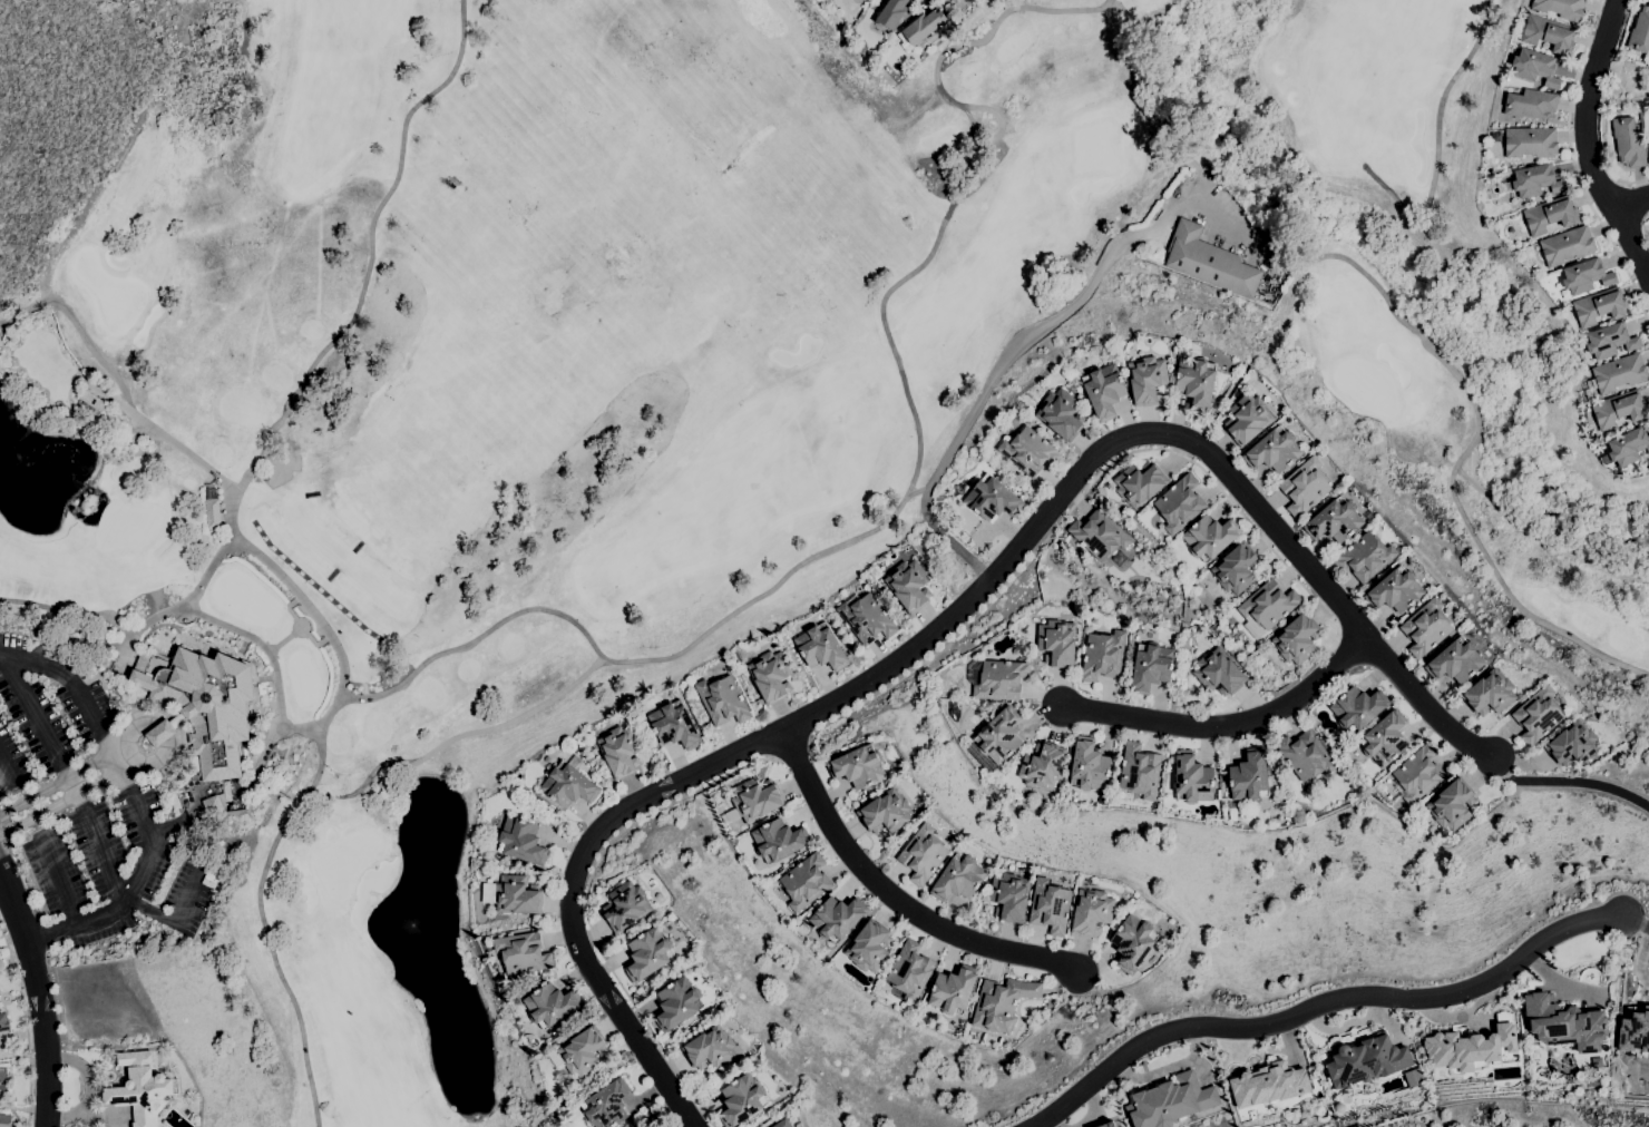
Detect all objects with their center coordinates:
building: (867, 0)
building: (952, 0)
building: (954, 0)
building: (1561, 8)
building: (891, 12)
building: (920, 28)
building: (1640, 31)
building: (1549, 35)
building: (1535, 67)
building: (1530, 104)
road: (1145, 111)
building: (1494, 136)
building: (1530, 143)
road: (1585, 143)
building: (1629, 143)
park: (1095, 147)
building: (1648, 150)
road: (966, 161)
road: (1435, 165)
road: (1574, 168)
building: (1536, 180)
road: (1631, 183)
road: (1623, 195)
road: (1635, 204)
building: (1551, 215)
parking lot: (1228, 216)
road: (1226, 220)
building: (1567, 245)
road: (371, 252)
building: (1209, 262)
building: (1587, 276)
building: (1600, 306)
building: (1610, 341)
road: (998, 369)
building: (1617, 375)
building: (1147, 380)
park: (706, 382)
building: (1196, 382)
building: (1103, 391)
building: (92, 401)
building: (1619, 409)
road: (136, 413)
building: (1061, 414)
building: (1248, 419)
road: (1472, 445)
building: (1628, 447)
building: (1028, 451)
building: (1274, 451)
building: (1139, 483)
building: (1304, 487)
building: (992, 499)
road: (1073, 504)
building: (1179, 504)
building: (212, 510)
building: (1335, 521)
park: (127, 525)
building: (1099, 535)
building: (1209, 537)
building: (1060, 542)
road: (1013, 551)
building: (1365, 557)
building: (1236, 568)
building: (909, 586)
road: (771, 589)
building: (1396, 590)
building: (1268, 604)
road: (87, 609)
road: (1326, 609)
building: (866, 618)
road: (584, 627)
building: (1426, 628)
road: (294, 630)
road: (308, 635)
building: (1297, 638)
road: (263, 641)
building: (1057, 643)
road: (75, 644)
building: (821, 648)
road: (13, 655)
building: (1103, 655)
road: (41, 660)
road: (345, 660)
building: (1455, 660)
building: (1151, 667)
building: (1219, 673)
building: (771, 676)
building: (996, 678)
building: (1490, 693)
building: (722, 700)
building: (204, 703)
road: (91, 704)
building: (1357, 708)
road: (37, 715)
building: (1538, 715)
building: (178, 719)
road: (126, 721)
building: (674, 725)
road: (1227, 725)
building: (160, 733)
building: (999, 736)
building: (1384, 739)
fountain: (147, 743)
road: (792, 743)
building: (1572, 744)
building: (621, 751)
building: (1306, 755)
road: (96, 759)
road: (116, 762)
building: (1089, 765)
building: (1042, 766)
building: (858, 767)
building: (1139, 772)
road: (9, 773)
building: (1418, 774)
building: (1250, 776)
building: (1192, 778)
road: (107, 780)
road: (75, 785)
building: (568, 785)
road: (667, 786)
road: (36, 793)
building: (757, 800)
building: (215, 804)
building: (1452, 804)
building: (885, 812)
road: (39, 816)
road: (166, 825)
road: (150, 835)
building: (521, 841)
building: (779, 841)
road: (99, 849)
building: (923, 854)
park: (345, 860)
building: (958, 879)
building: (806, 882)
building: (517, 895)
road: (187, 896)
road: (894, 896)
building: (1009, 896)
road: (68, 903)
road: (586, 905)
building: (626, 906)
building: (1050, 906)
road: (149, 911)
building: (1091, 912)
building: (837, 918)
road: (266, 924)
road: (51, 933)
building: (1133, 943)
building: (869, 947)
road: (1529, 949)
building: (523, 953)
building: (648, 954)
building: (909, 971)
building: (953, 990)
road: (39, 996)
building: (677, 1003)
building: (552, 1006)
building: (1002, 1006)
road: (29, 1021)
building: (3, 1022)
building: (1564, 1023)
road: (1207, 1025)
building: (1635, 1029)
building: (1470, 1046)
building: (710, 1049)
building: (0, 1051)
building: (580, 1052)
building: (1367, 1061)
building: (1269, 1084)
building: (2, 1089)
building: (142, 1089)
building: (741, 1100)
building: (1171, 1101)
building: (607, 1105)
building: (574, 1115)
park: (1543, 1118)
building: (6, 1120)
building: (782, 1124)
building: (1104, 1124)

